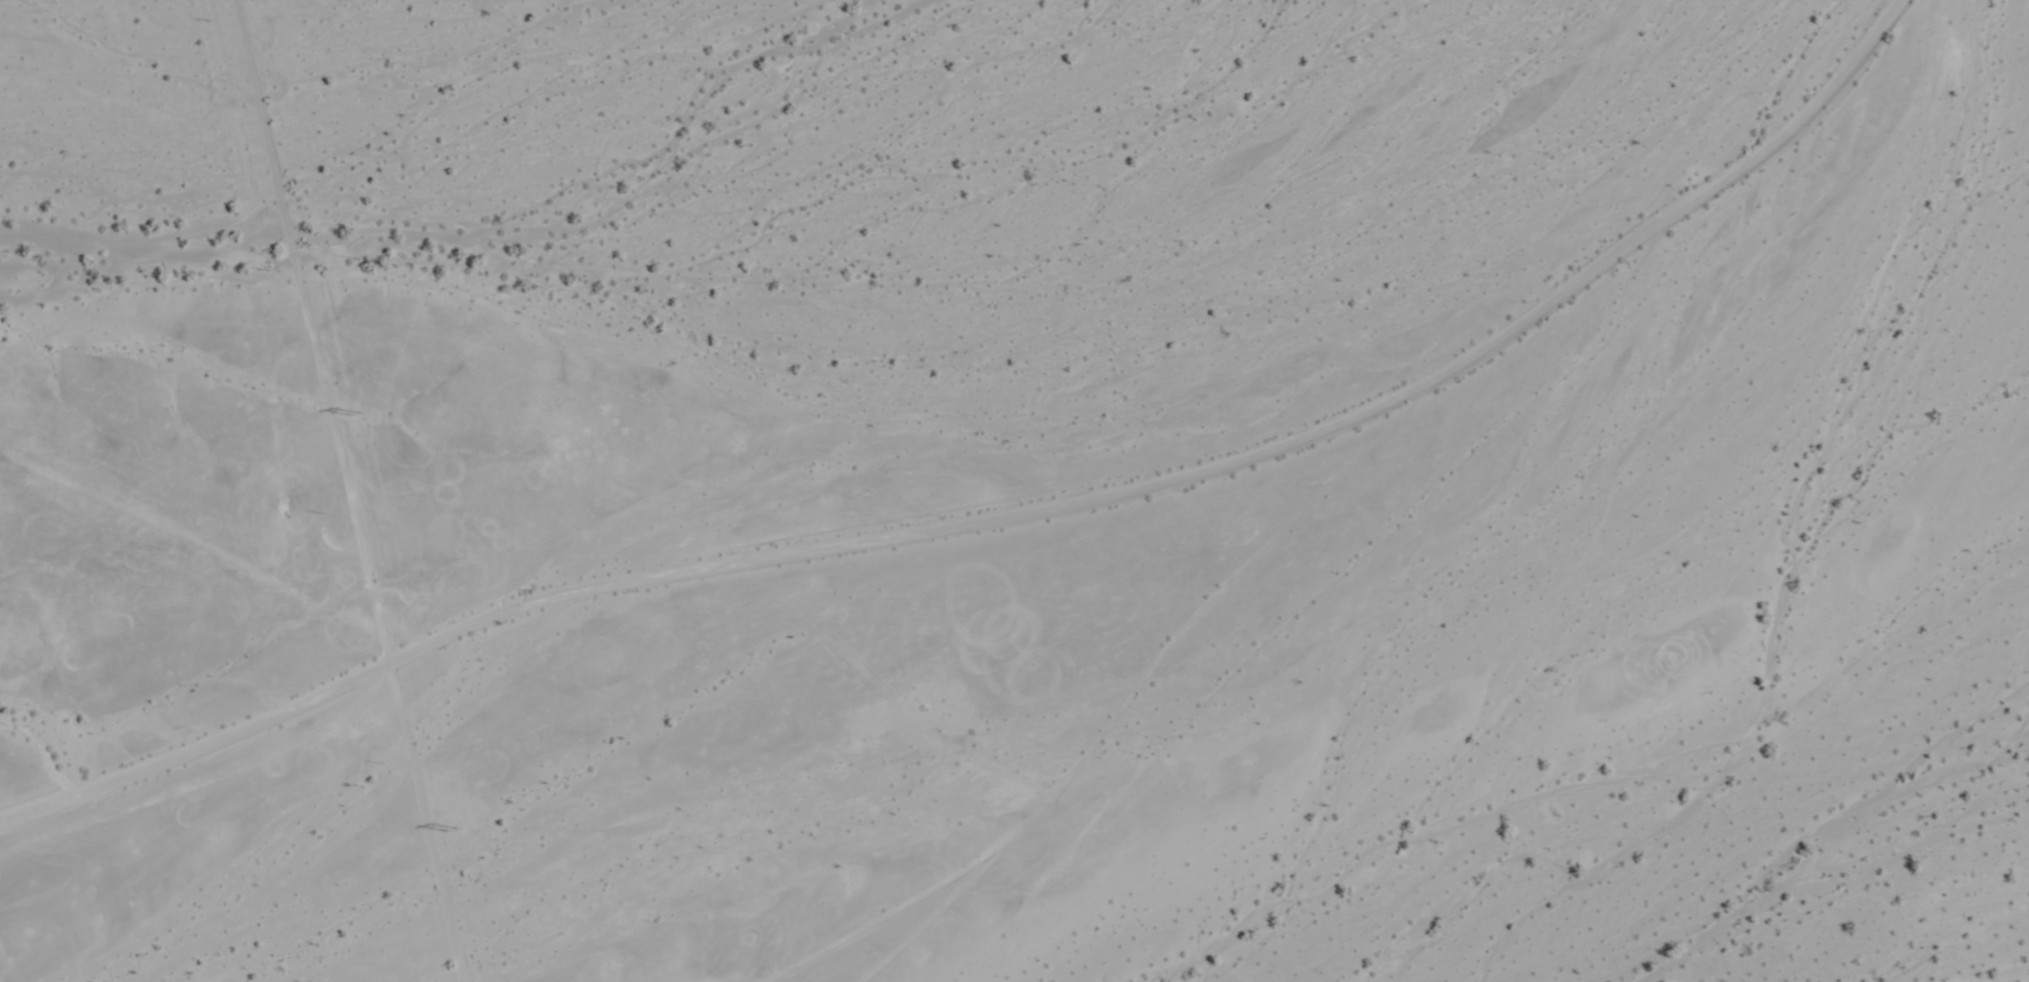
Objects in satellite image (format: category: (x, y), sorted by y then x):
power tower: (356, 416)
road: (986, 485)
power tower: (459, 833)

